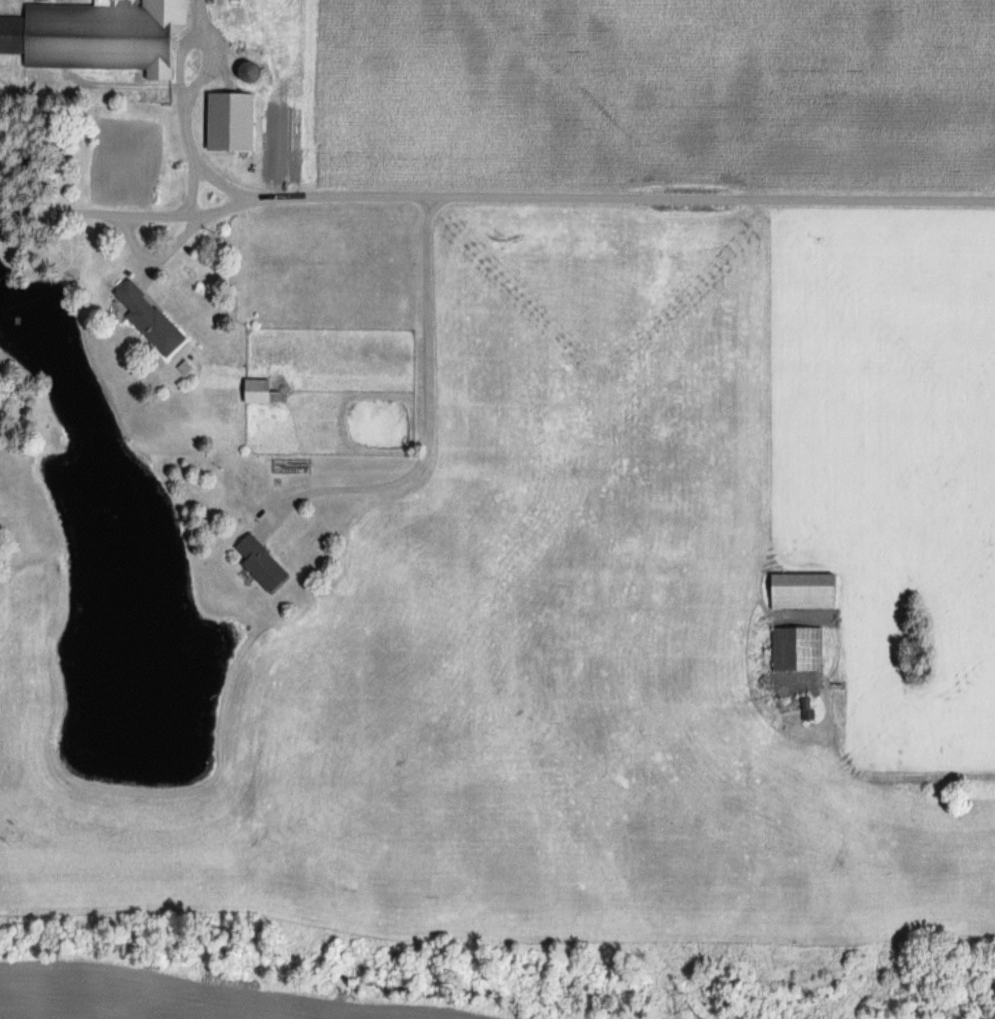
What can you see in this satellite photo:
building: (94, 35)
road: (176, 77)
building: (235, 121)
road: (193, 160)
road: (532, 196)
road: (58, 211)
road: (155, 216)
building: (154, 319)
building: (263, 390)
road: (426, 412)
building: (265, 562)
building: (810, 590)
building: (801, 648)
building: (812, 708)

